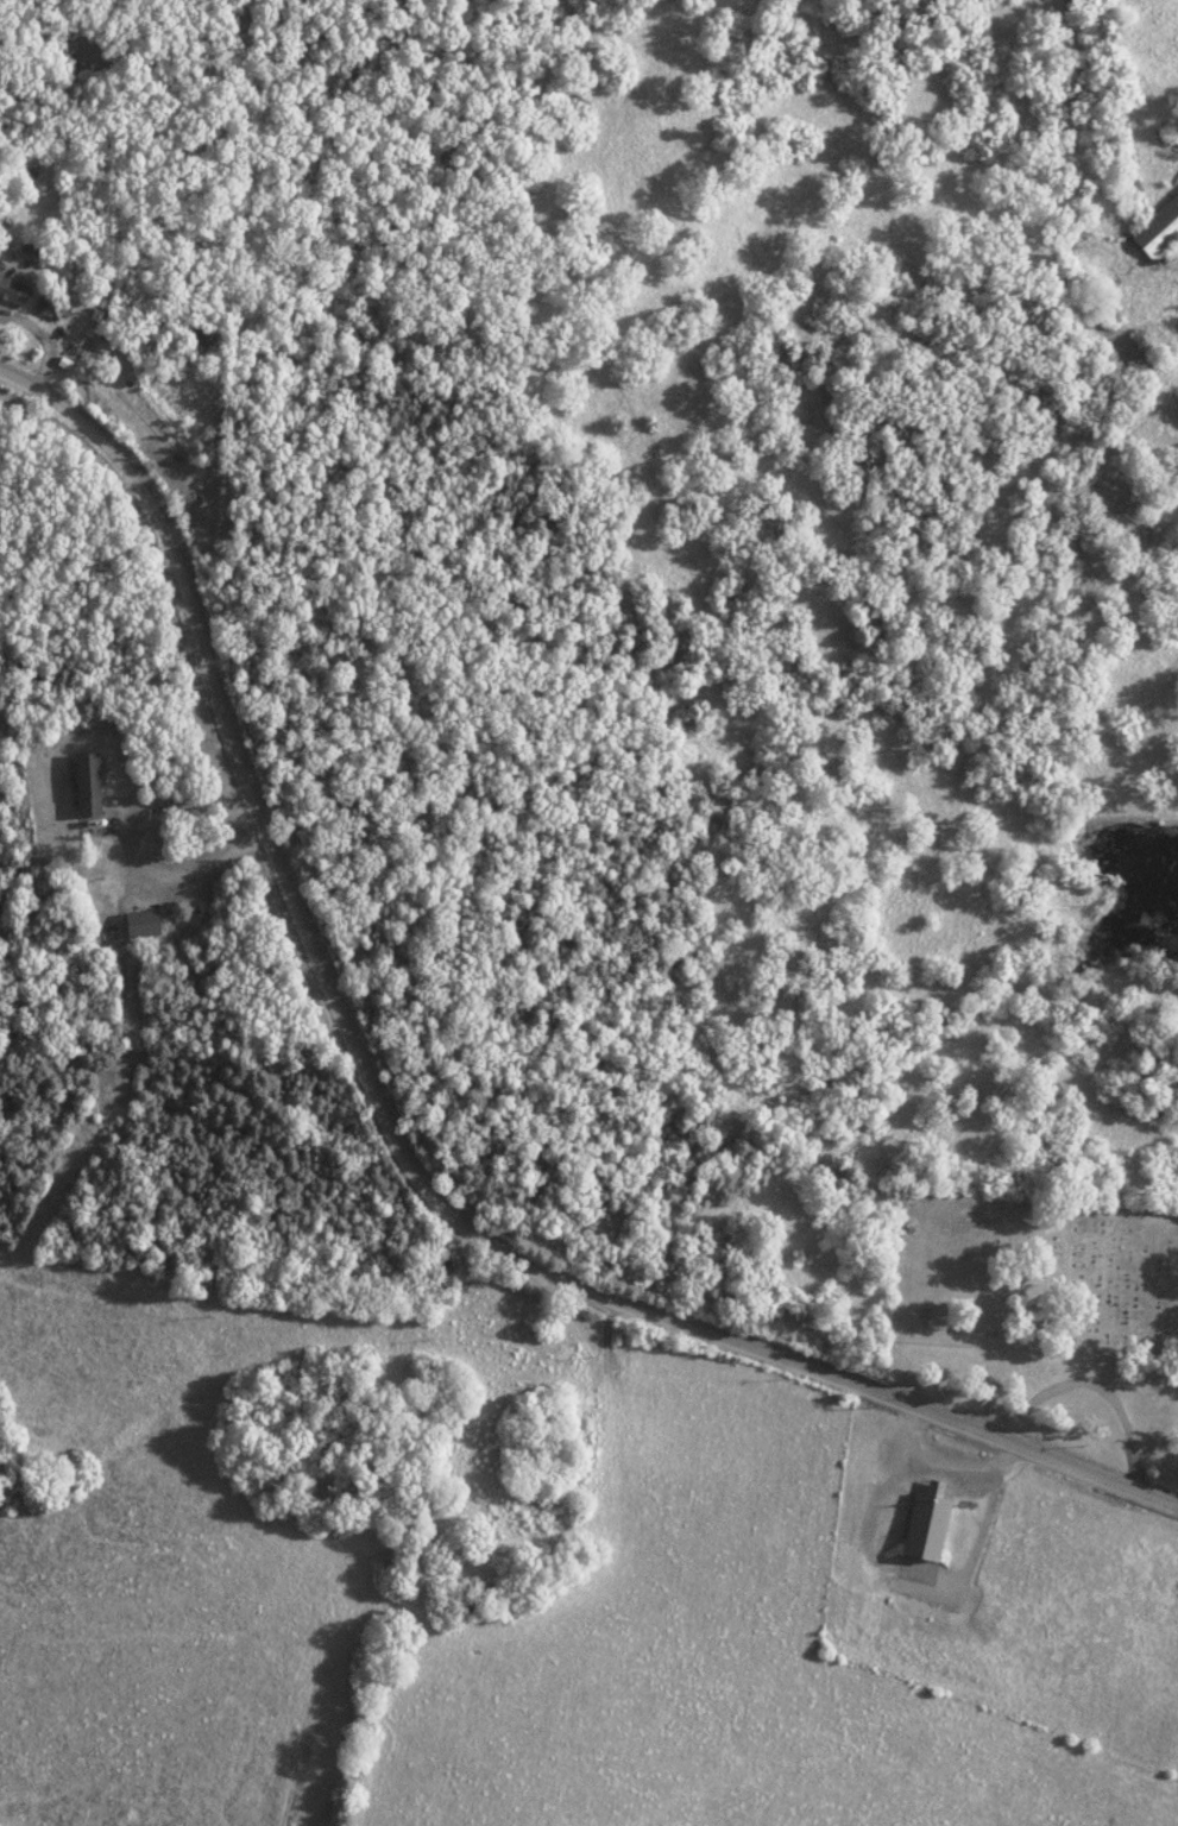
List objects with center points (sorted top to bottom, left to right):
building: (1157, 227)
building: (11, 291)
building: (46, 307)
building: (84, 783)
building: (138, 920)
road: (399, 1123)
building: (922, 1522)

